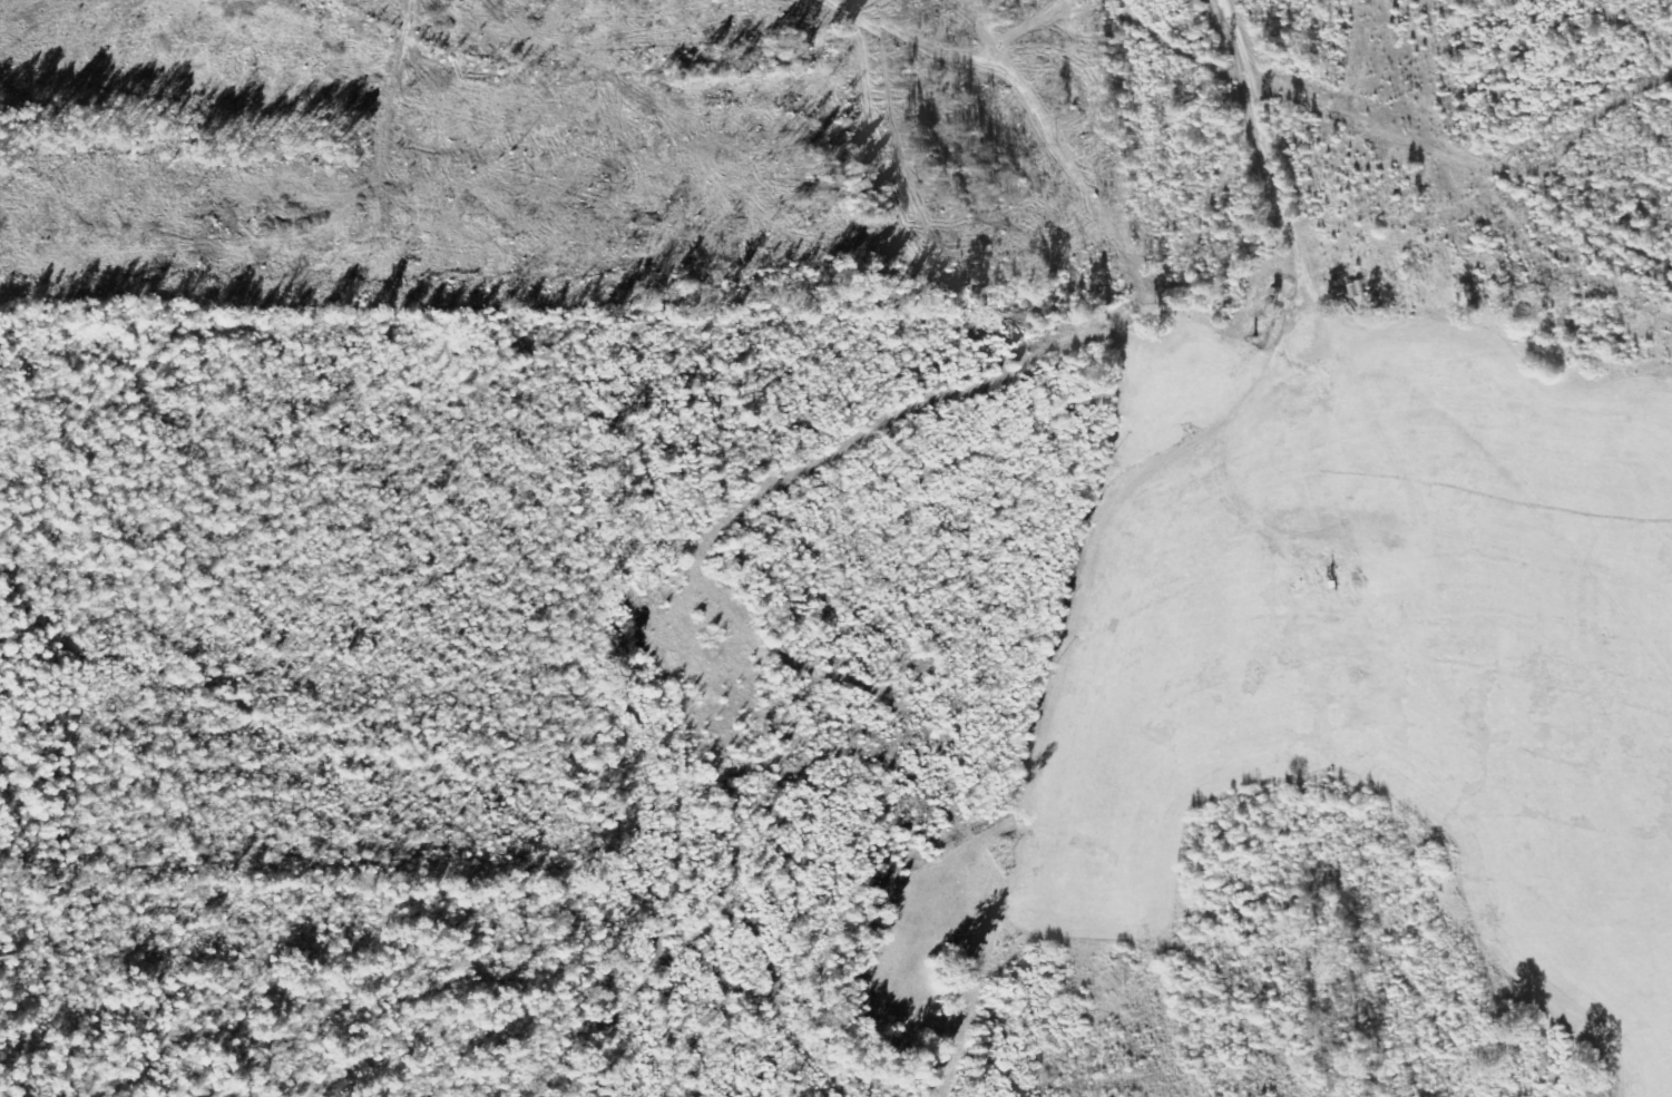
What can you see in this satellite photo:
road: (930, 40)
road: (1259, 137)
road: (1302, 363)

